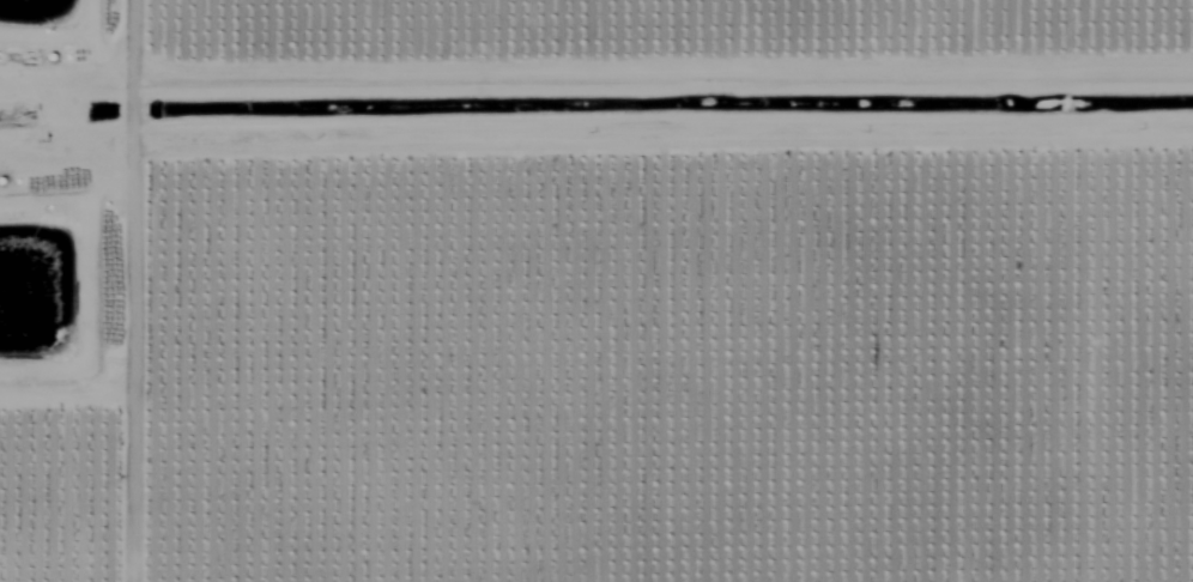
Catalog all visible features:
road: (595, 158)
road: (98, 266)
crop: (596, 291)
road: (1083, 369)

